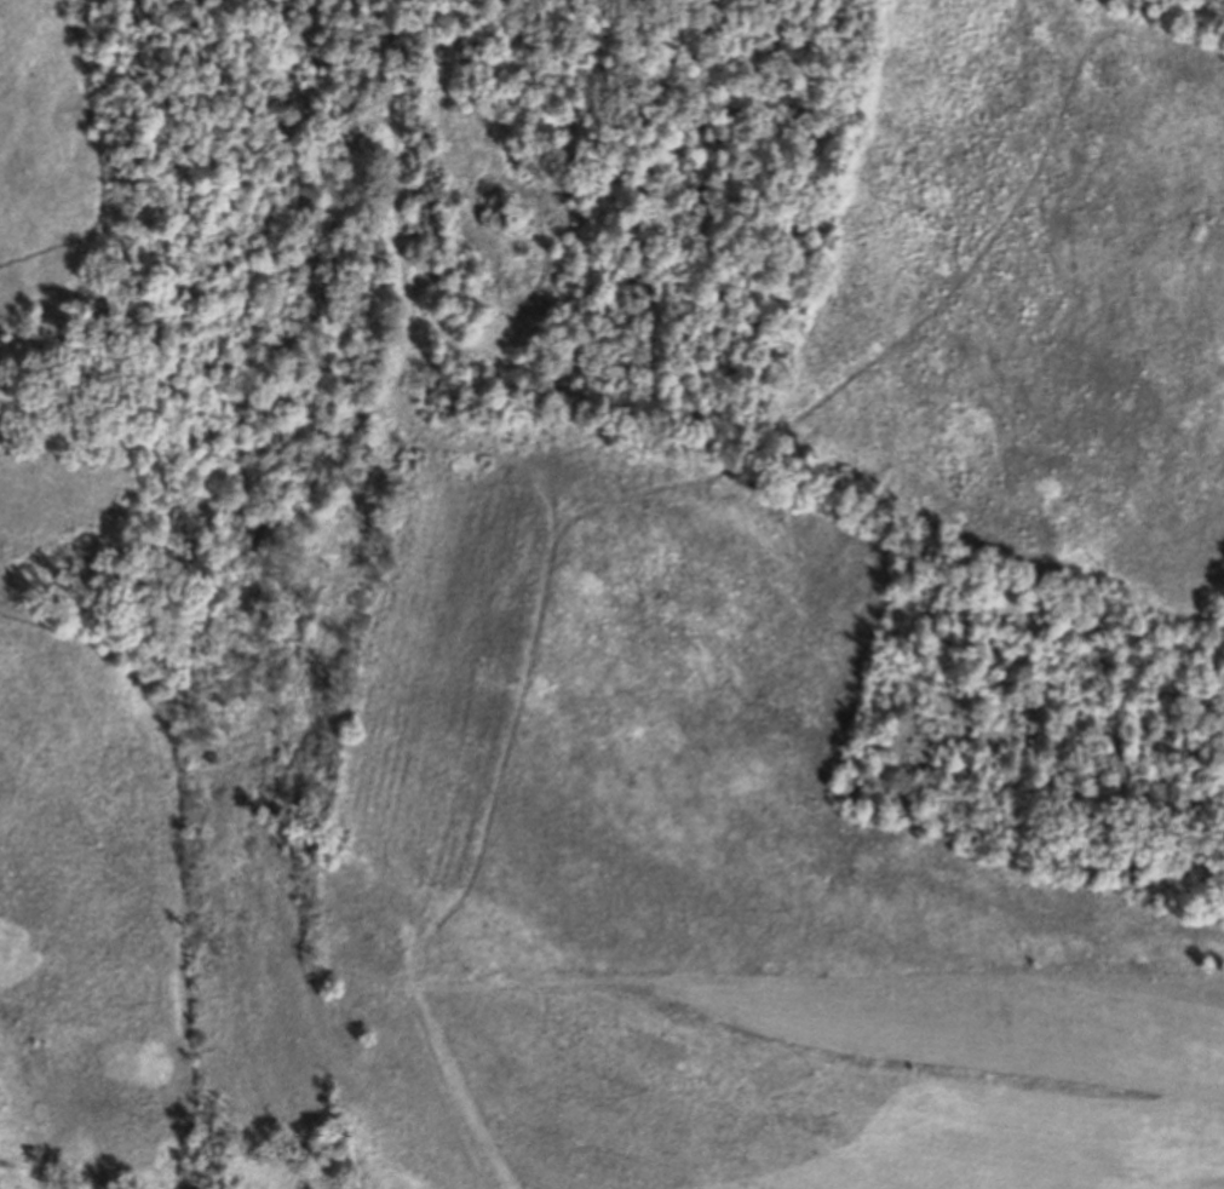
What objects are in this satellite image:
road: (431, 1059)

